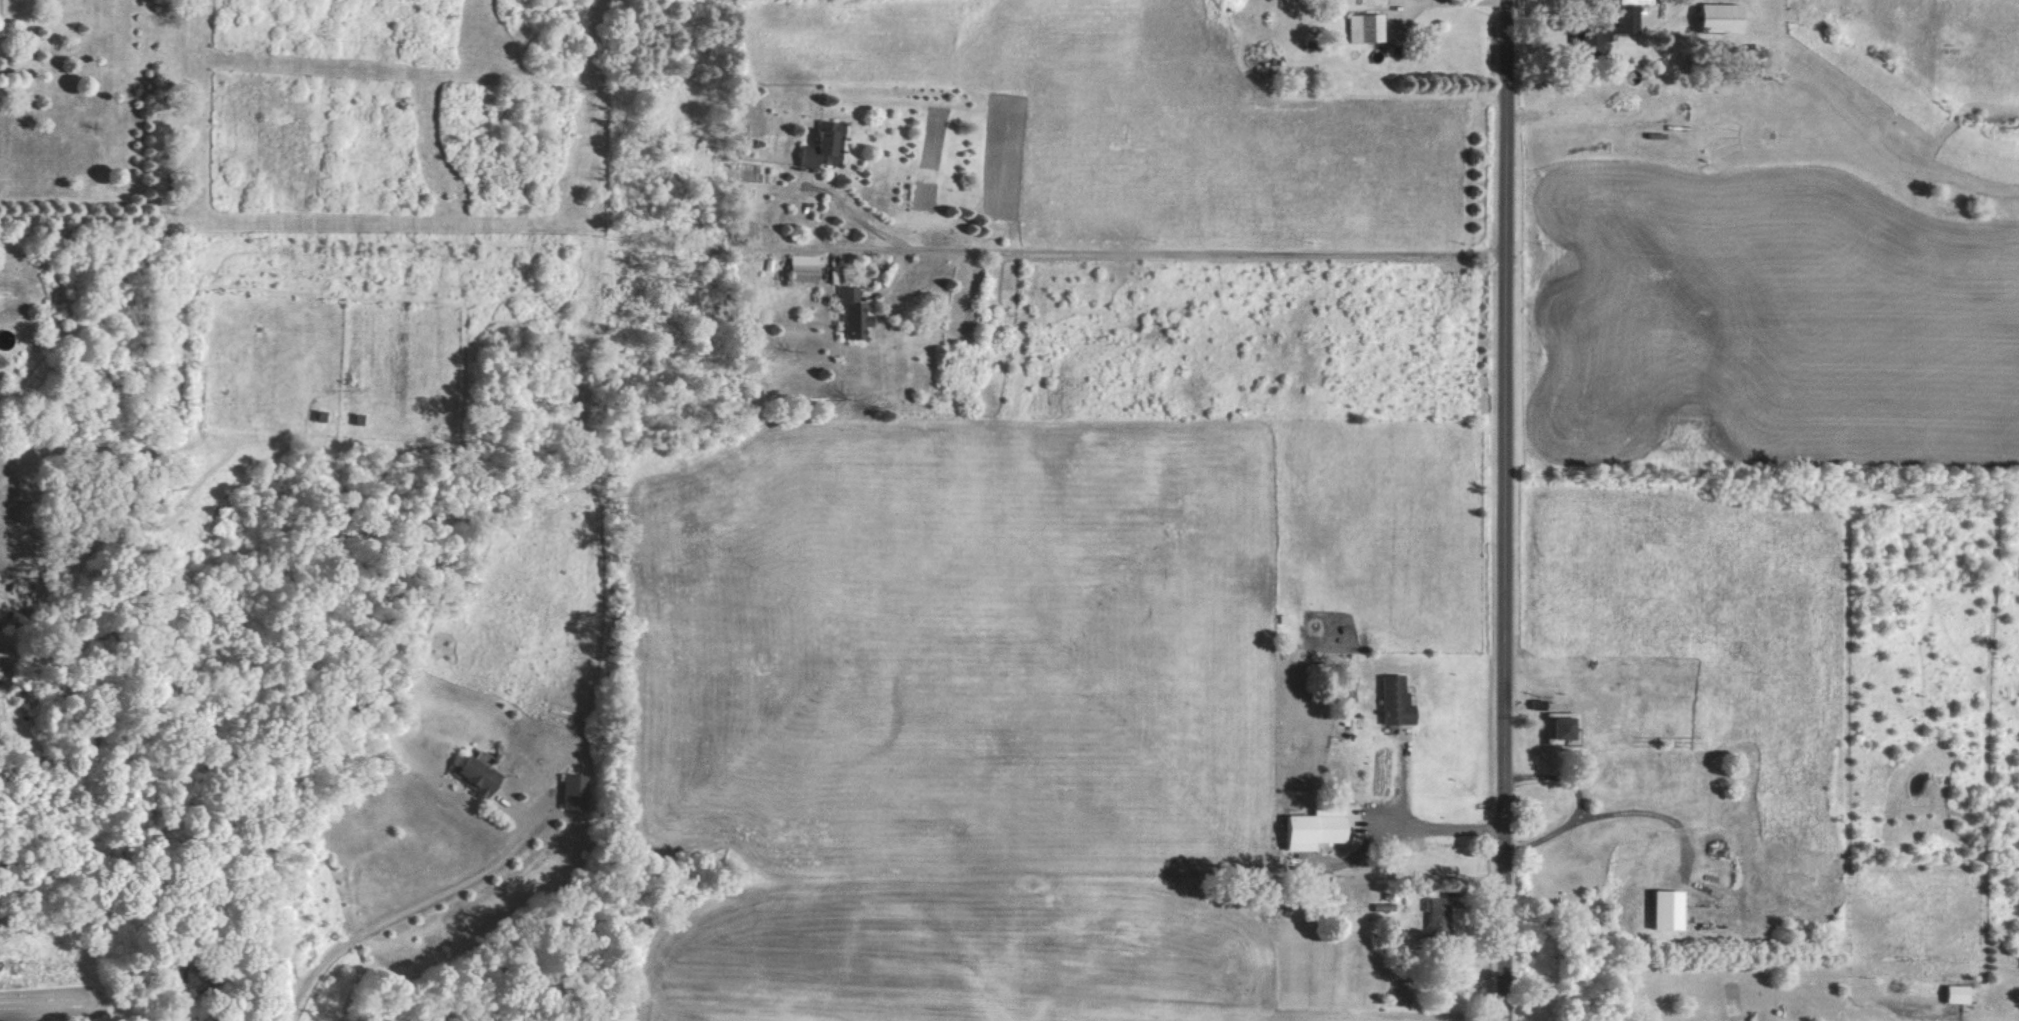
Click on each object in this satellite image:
building: (1622, 15)
building: (1712, 17)
road: (1562, 22)
building: (1358, 27)
building: (817, 145)
road: (1157, 251)
building: (799, 267)
building: (850, 311)
road: (1504, 510)
building: (1388, 700)
building: (1555, 727)
building: (469, 772)
building: (566, 789)
road: (1607, 814)
road: (1416, 819)
building: (1306, 827)
road: (407, 907)
building: (1661, 909)
building: (1432, 913)
building: (1950, 993)

